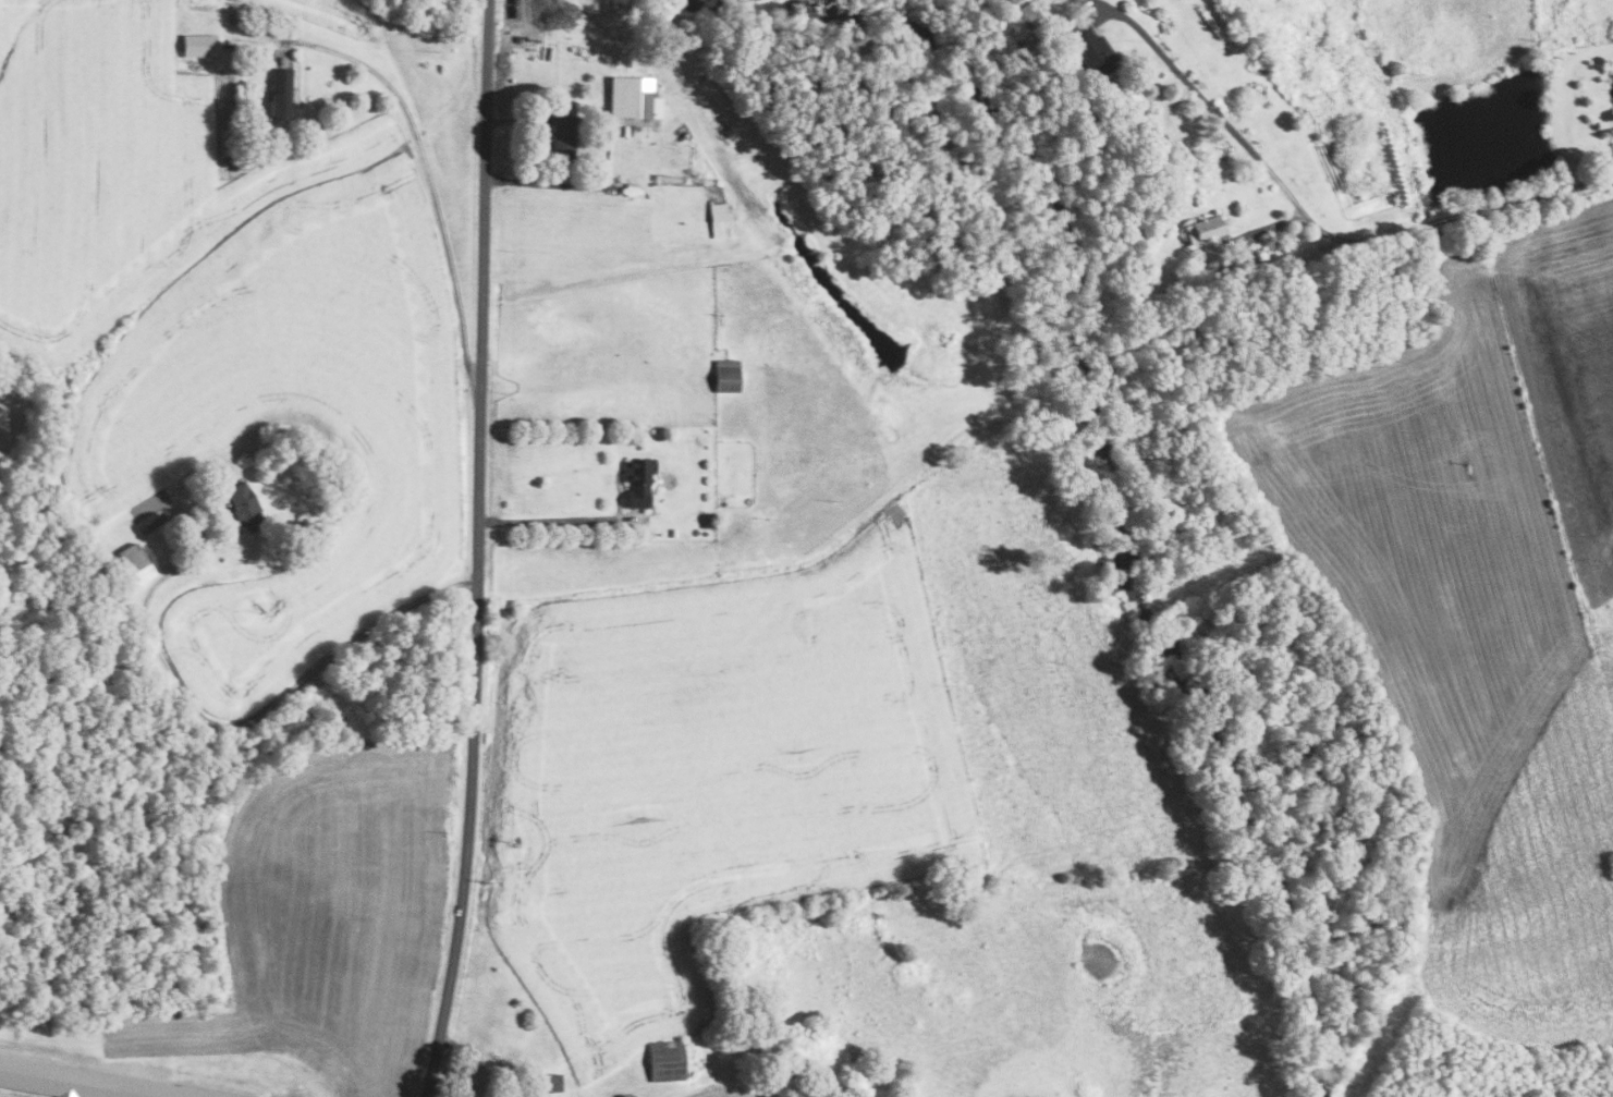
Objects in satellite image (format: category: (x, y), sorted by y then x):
crop: (329, 13)
building: (1036, 15)
building: (200, 45)
building: (1089, 49)
building: (281, 94)
building: (634, 98)
road: (515, 120)
building: (565, 136)
road: (430, 184)
road: (563, 185)
building: (719, 219)
road: (1316, 224)
road: (1270, 227)
building: (1207, 235)
crop: (225, 326)
building: (728, 376)
building: (639, 482)
building: (245, 505)
road: (548, 520)
building: (710, 521)
building: (673, 533)
road: (477, 550)
building: (135, 563)
crop: (1482, 604)
road: (258, 714)
crop: (709, 781)
crop: (340, 907)
building: (668, 1061)
road: (478, 1064)
building: (796, 1070)
building: (84, 1082)
building: (545, 1083)
crop: (722, 1093)
building: (626, 1095)

